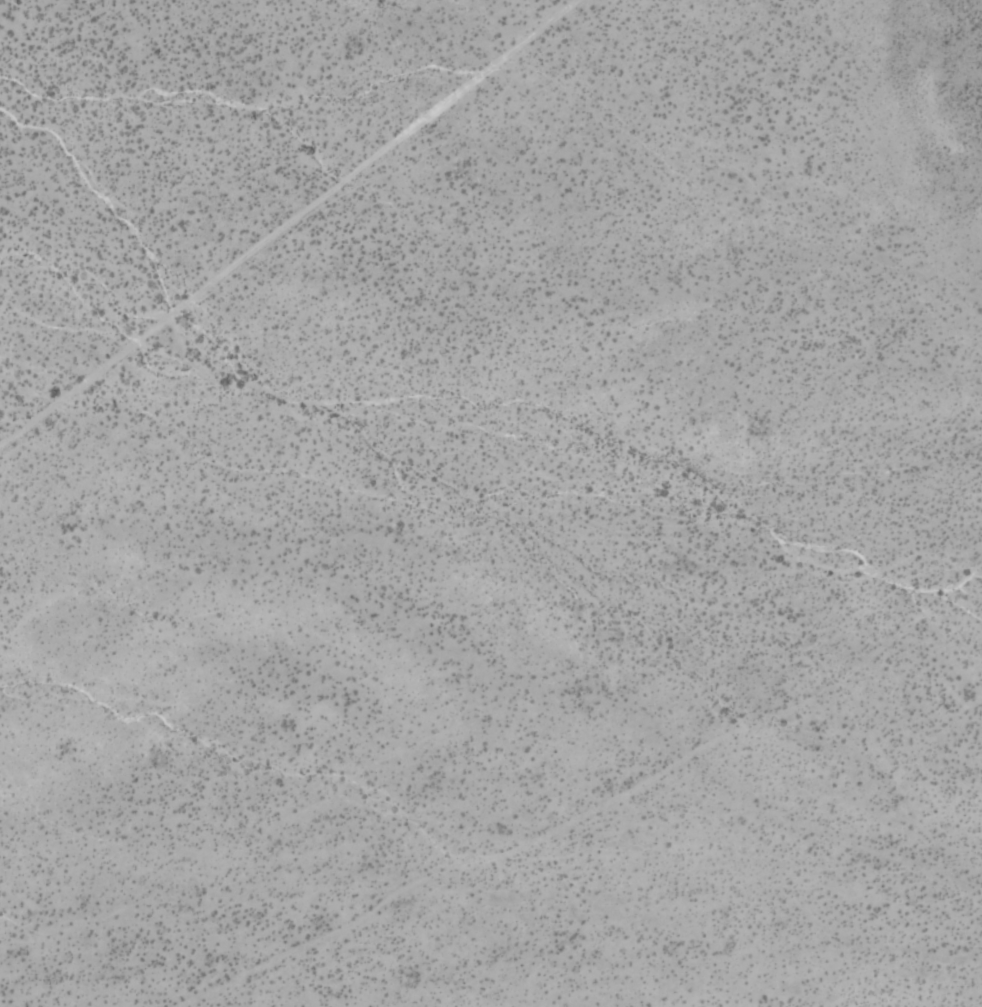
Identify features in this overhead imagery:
road: (282, 195)

